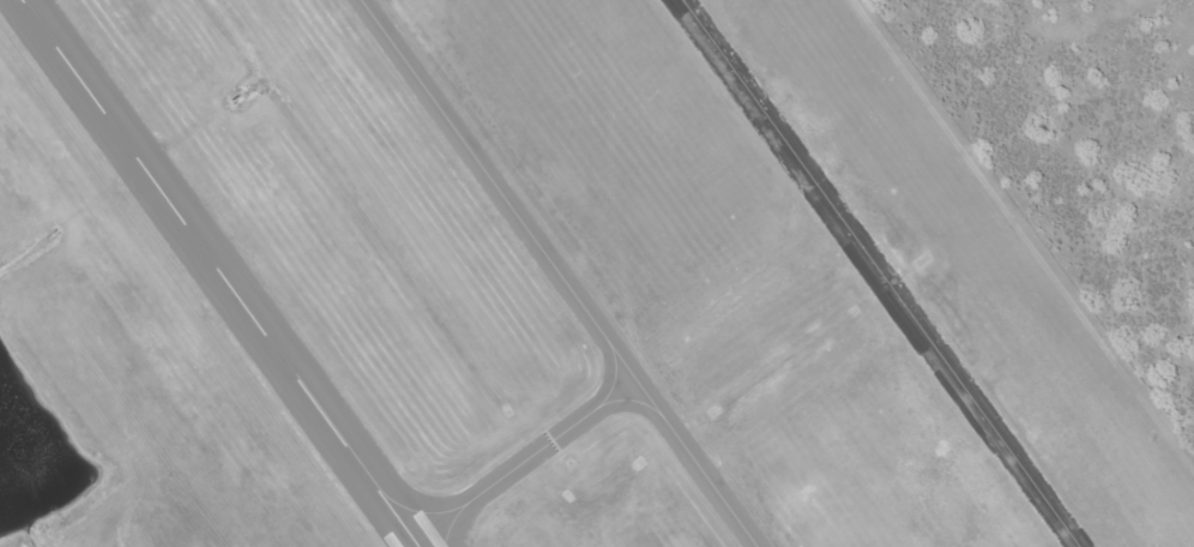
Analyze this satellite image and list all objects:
road: (1056, 94)
airport runway: (218, 272)
airport taxiway: (556, 272)
airport taxiway: (879, 273)
airport: (531, 289)
airport taxiway: (521, 457)

